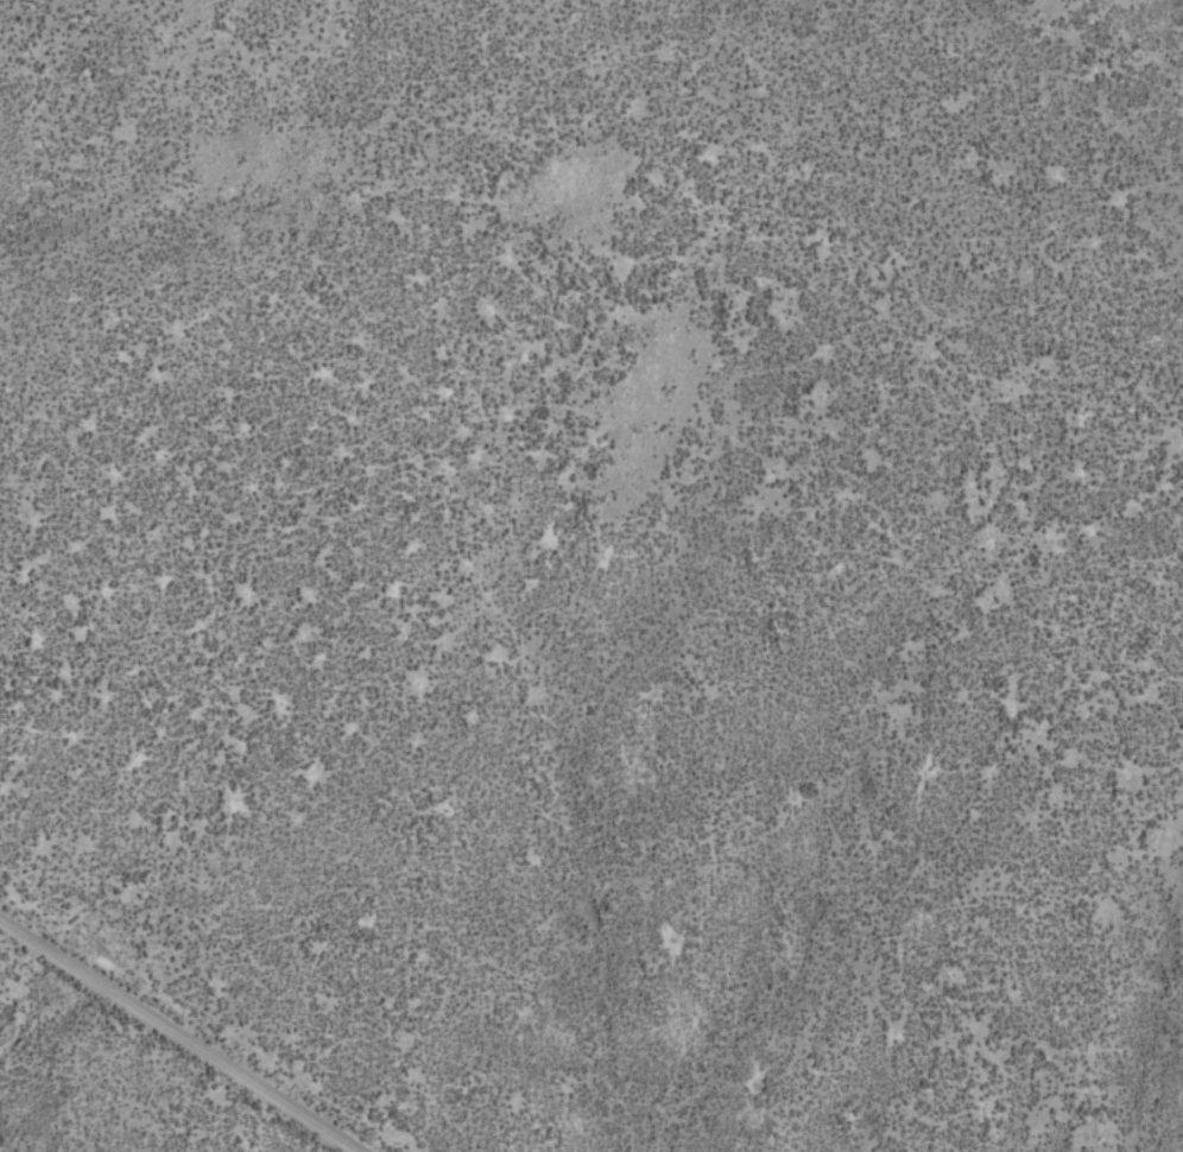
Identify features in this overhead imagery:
road: (177, 1037)

